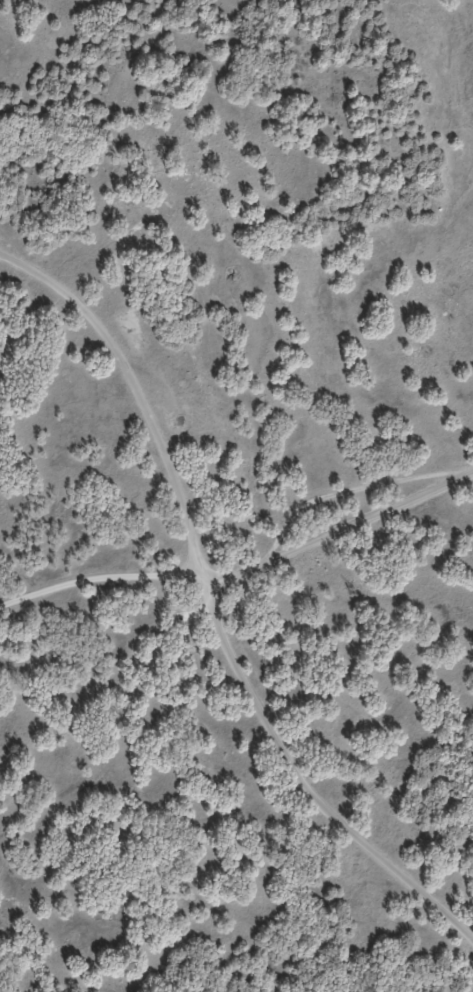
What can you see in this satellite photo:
road: (251, 556)
road: (210, 597)

